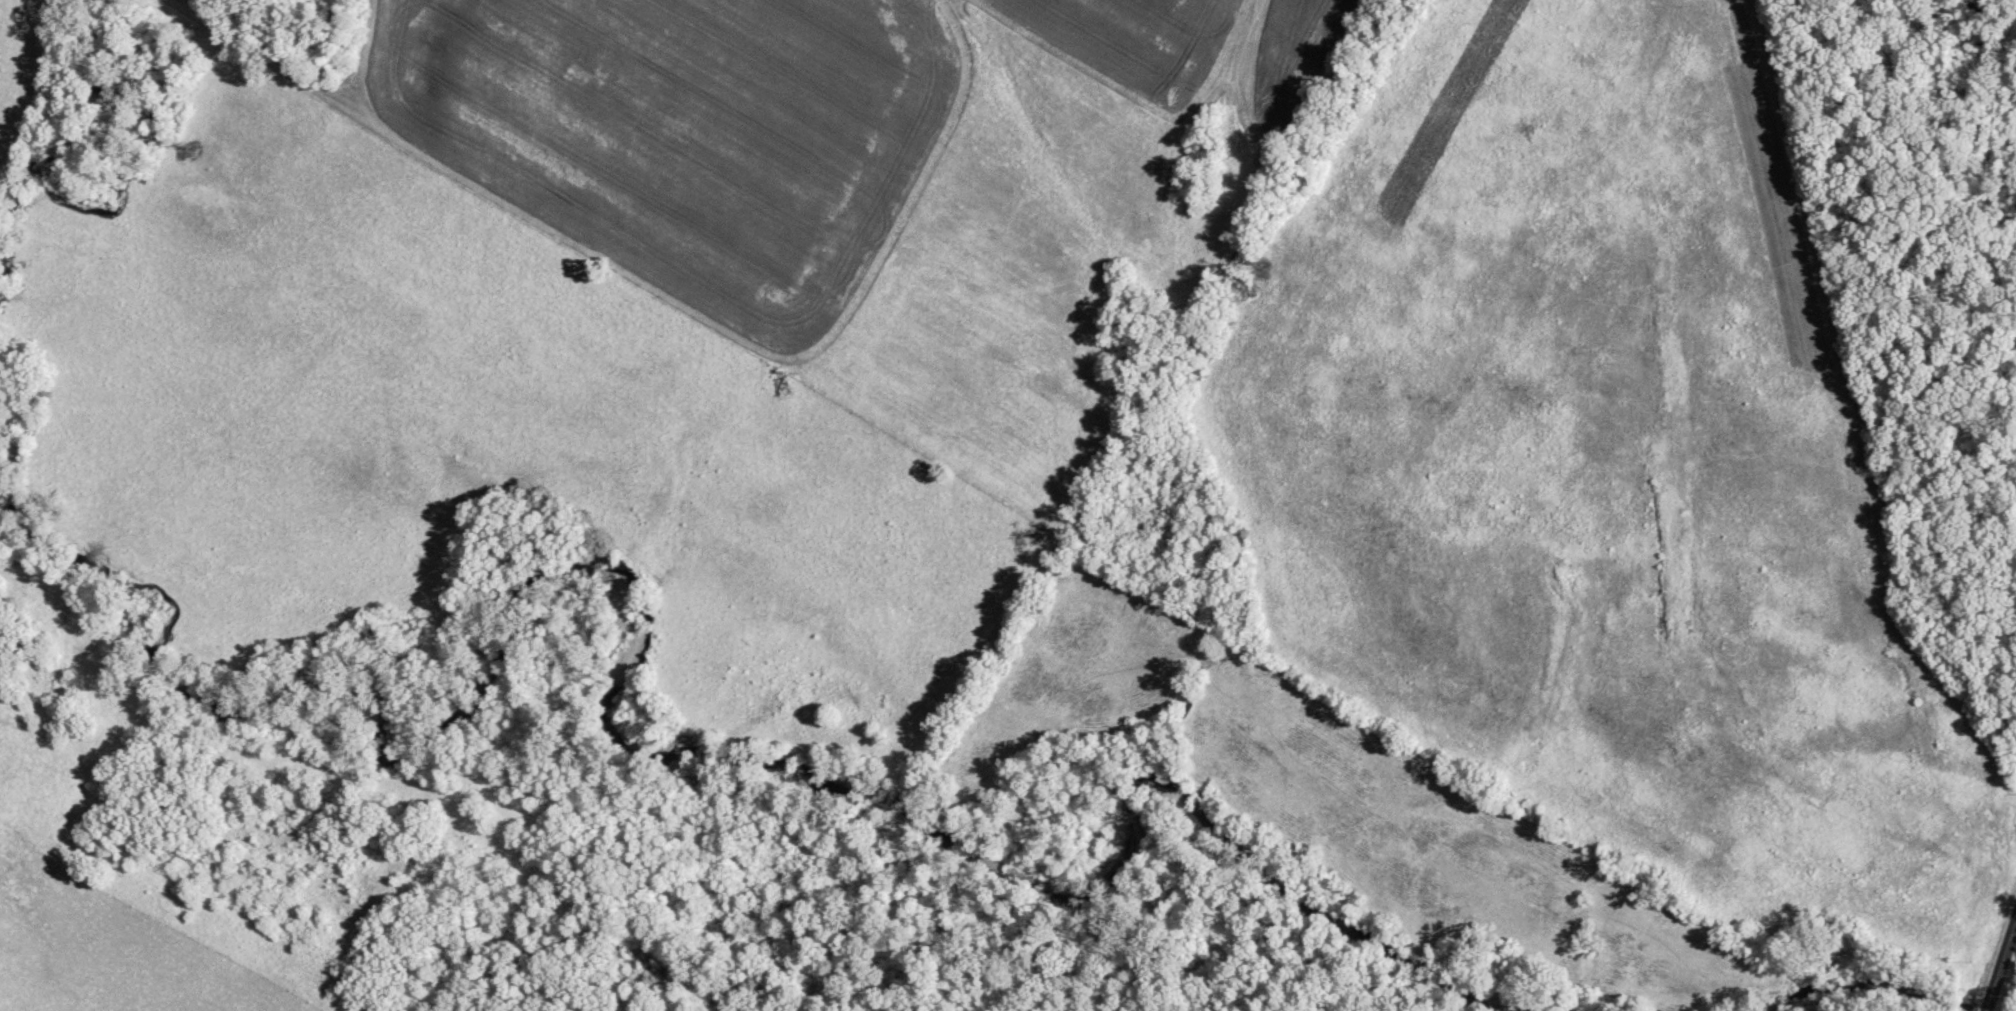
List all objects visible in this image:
road: (2003, 972)

